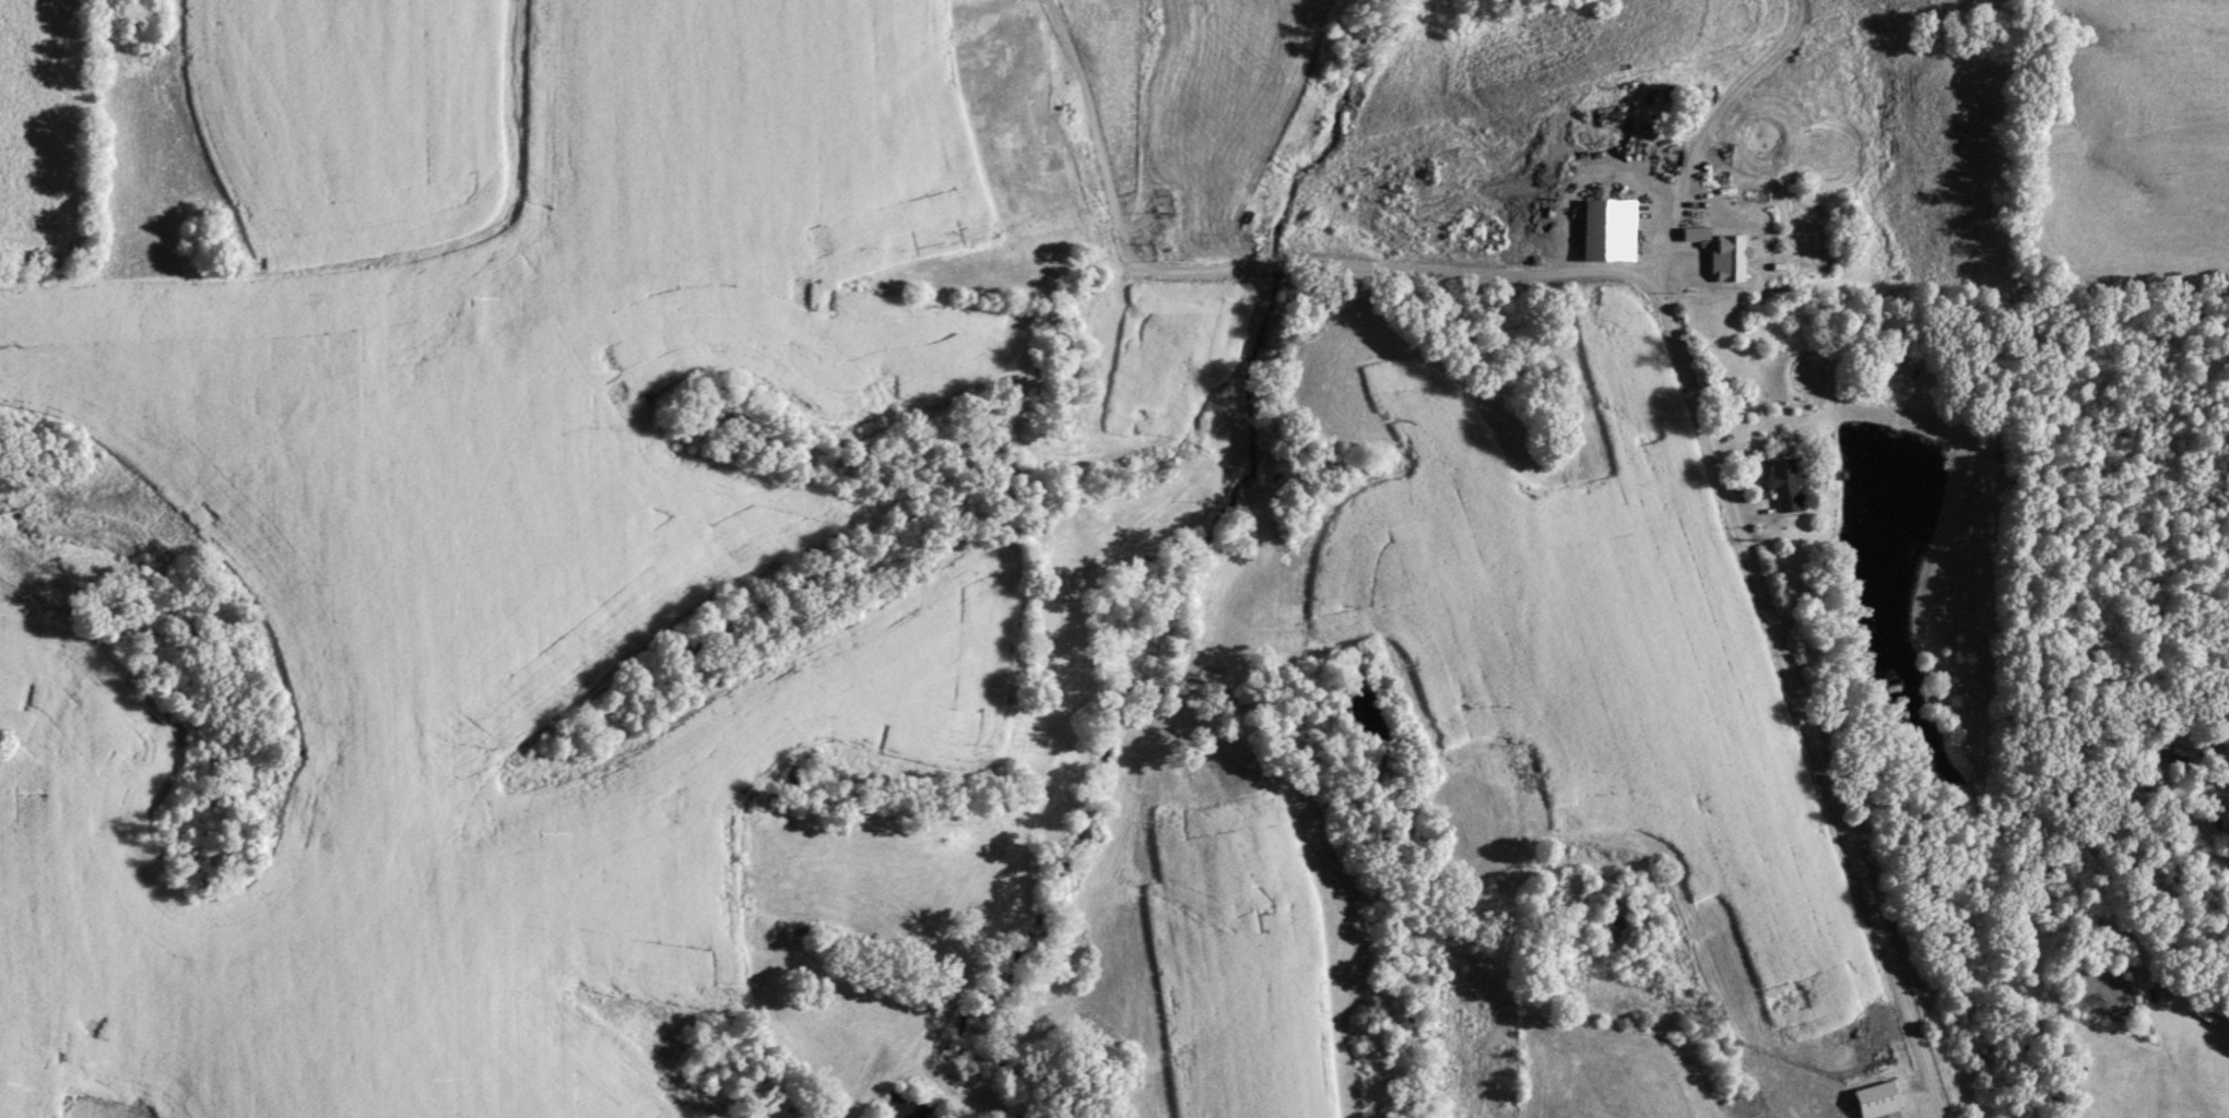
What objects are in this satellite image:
building: (1607, 228)
building: (1726, 257)
road: (1672, 317)
building: (1782, 481)
building: (2226, 773)
building: (1874, 1098)

